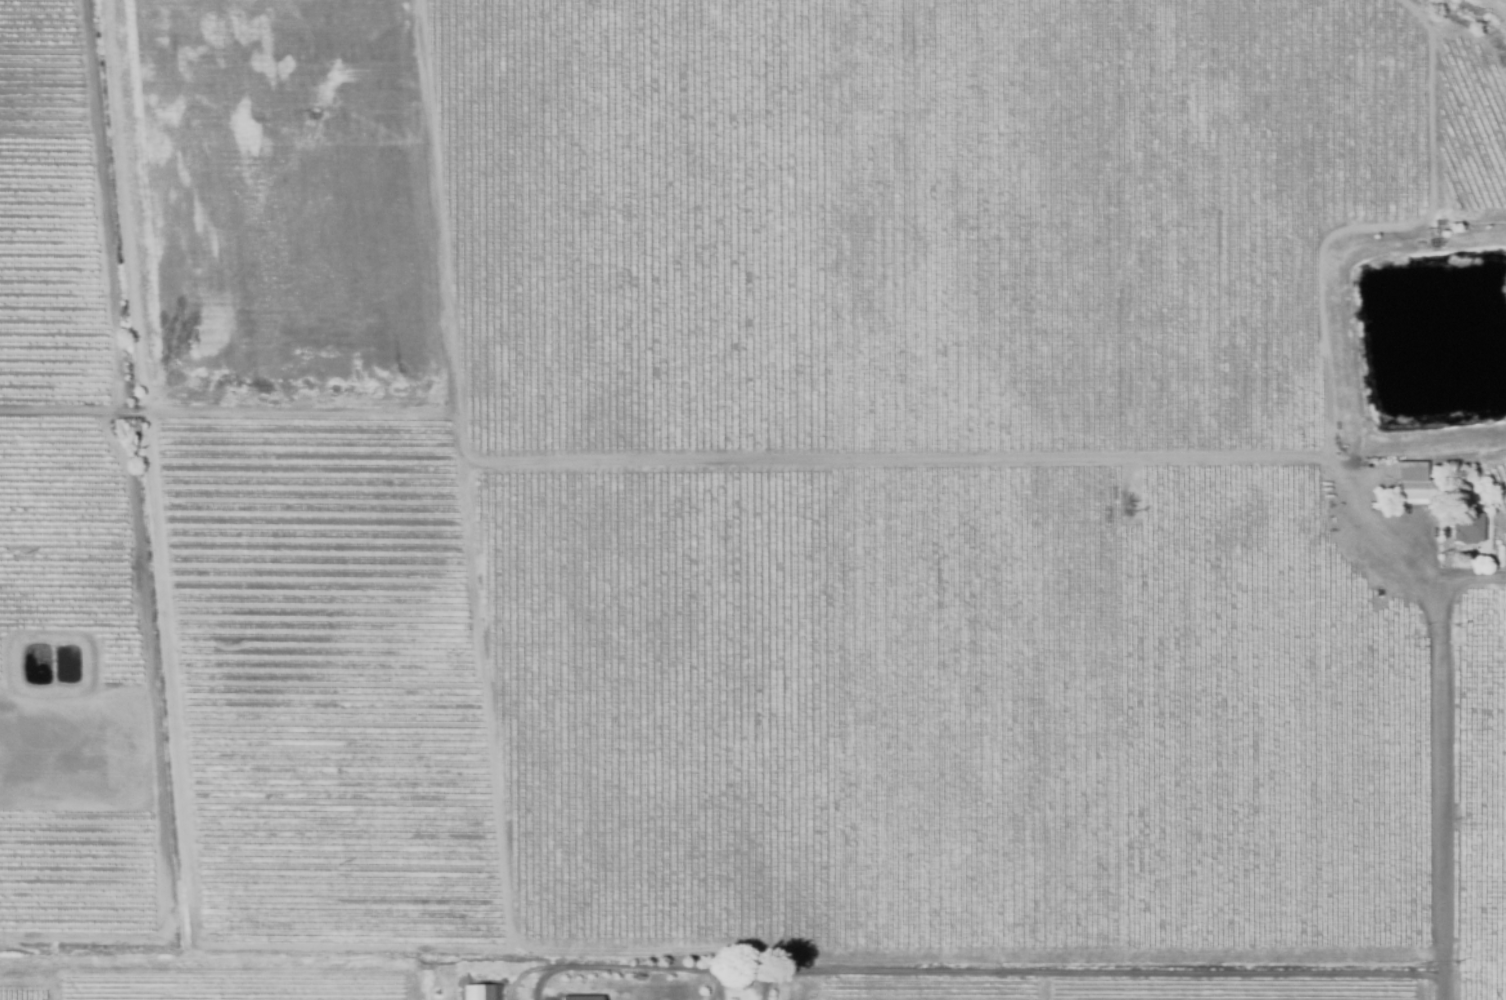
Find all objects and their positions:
building: (1412, 483)
building: (1465, 528)
road: (1473, 582)
road: (1437, 793)
road: (486, 966)
road: (555, 968)
road: (997, 972)
building: (741, 983)
road: (543, 984)
building: (481, 992)
building: (523, 994)
building: (581, 998)

